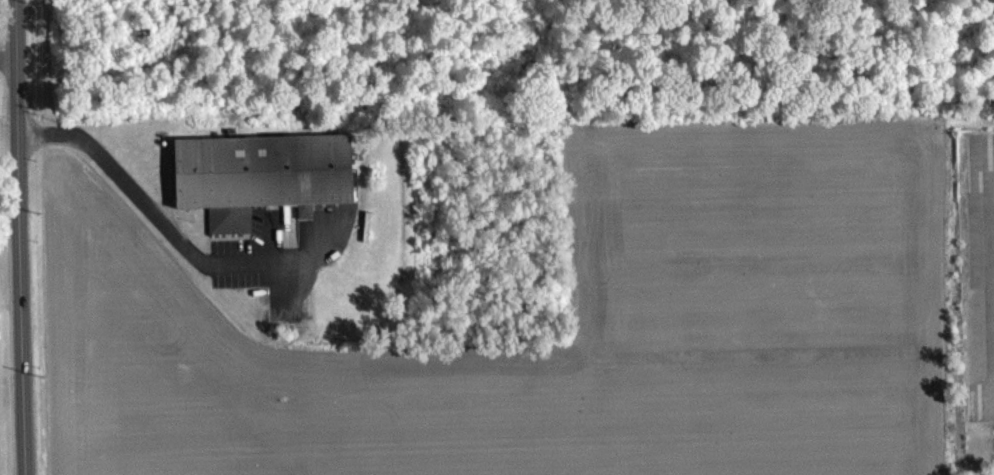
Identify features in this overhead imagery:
road: (13, 77)
building: (260, 173)
road: (156, 224)
road: (28, 237)

